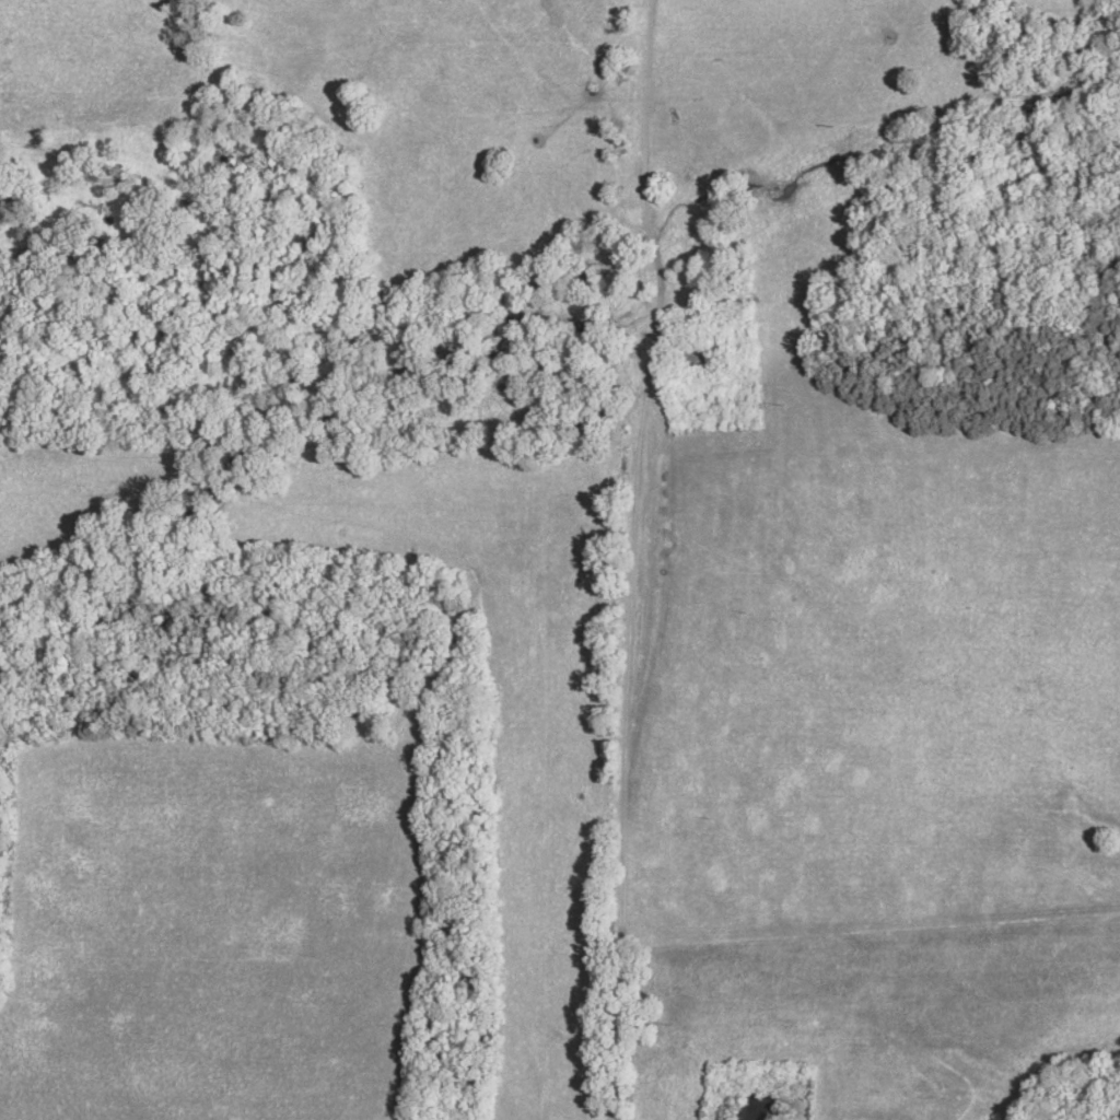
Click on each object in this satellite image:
road: (664, 561)

